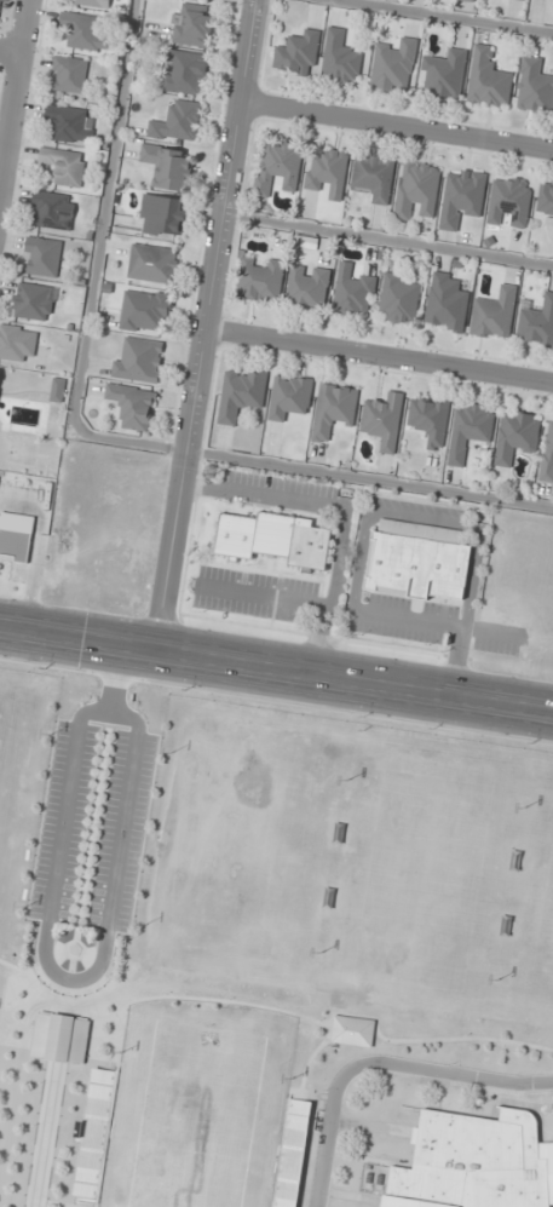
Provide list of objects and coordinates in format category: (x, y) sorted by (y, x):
building: (470, 0)
building: (525, 0)
building: (93, 2)
building: (1, 7)
building: (192, 24)
building: (85, 31)
road: (10, 52)
building: (299, 53)
building: (340, 58)
building: (394, 65)
building: (184, 71)
building: (70, 74)
building: (444, 74)
building: (488, 79)
building: (535, 86)
road: (13, 92)
building: (178, 122)
road: (397, 123)
building: (70, 125)
building: (63, 166)
building: (168, 167)
building: (280, 167)
building: (328, 171)
building: (373, 177)
building: (417, 188)
building: (462, 197)
building: (511, 200)
building: (545, 201)
building: (52, 211)
building: (162, 214)
building: (42, 257)
building: (152, 263)
building: (261, 280)
building: (307, 287)
building: (352, 292)
building: (398, 299)
building: (34, 301)
building: (447, 301)
building: (144, 310)
building: (494, 314)
building: (537, 323)
road: (206, 326)
building: (18, 343)
road: (379, 355)
building: (139, 361)
building: (0, 370)
building: (58, 390)
building: (241, 393)
building: (289, 396)
building: (132, 406)
building: (334, 408)
building: (382, 420)
building: (428, 420)
building: (470, 430)
building: (517, 435)
building: (547, 453)
building: (15, 547)
building: (310, 547)
building: (417, 561)
road: (276, 669)
road: (115, 680)
park: (15, 787)
parking lot: (63, 821)
parking lot: (121, 830)
park: (244, 851)
park: (421, 879)
park: (246, 933)
park: (548, 947)
road: (10, 965)
road: (86, 976)
road: (230, 1001)
building: (352, 1030)
road: (122, 1033)
building: (58, 1038)
road: (420, 1039)
road: (53, 1061)
road: (379, 1061)
road: (305, 1070)
park: (196, 1116)
building: (296, 1130)
building: (96, 1132)
building: (474, 1162)

